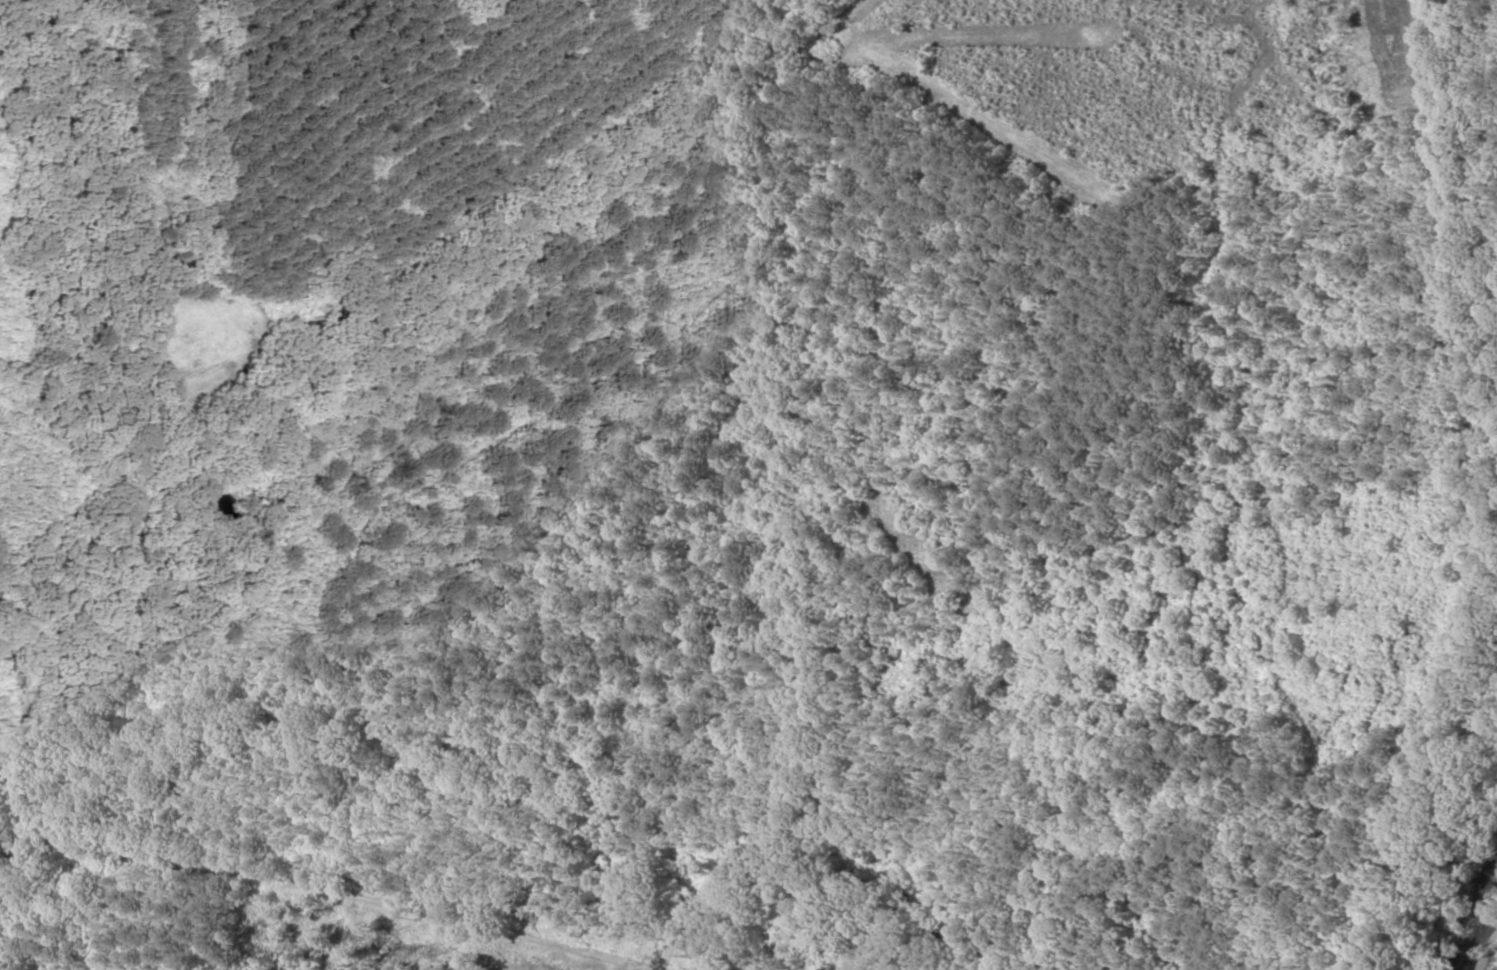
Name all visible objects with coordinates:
road: (213, 869)

